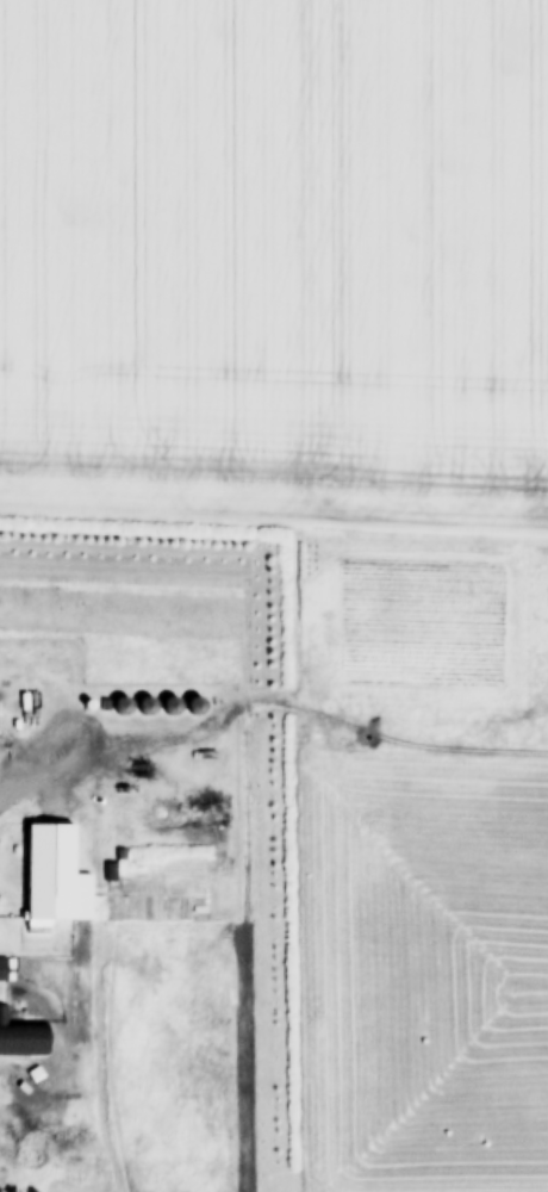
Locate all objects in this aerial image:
building: (48, 870)
building: (1, 967)
building: (20, 1036)

